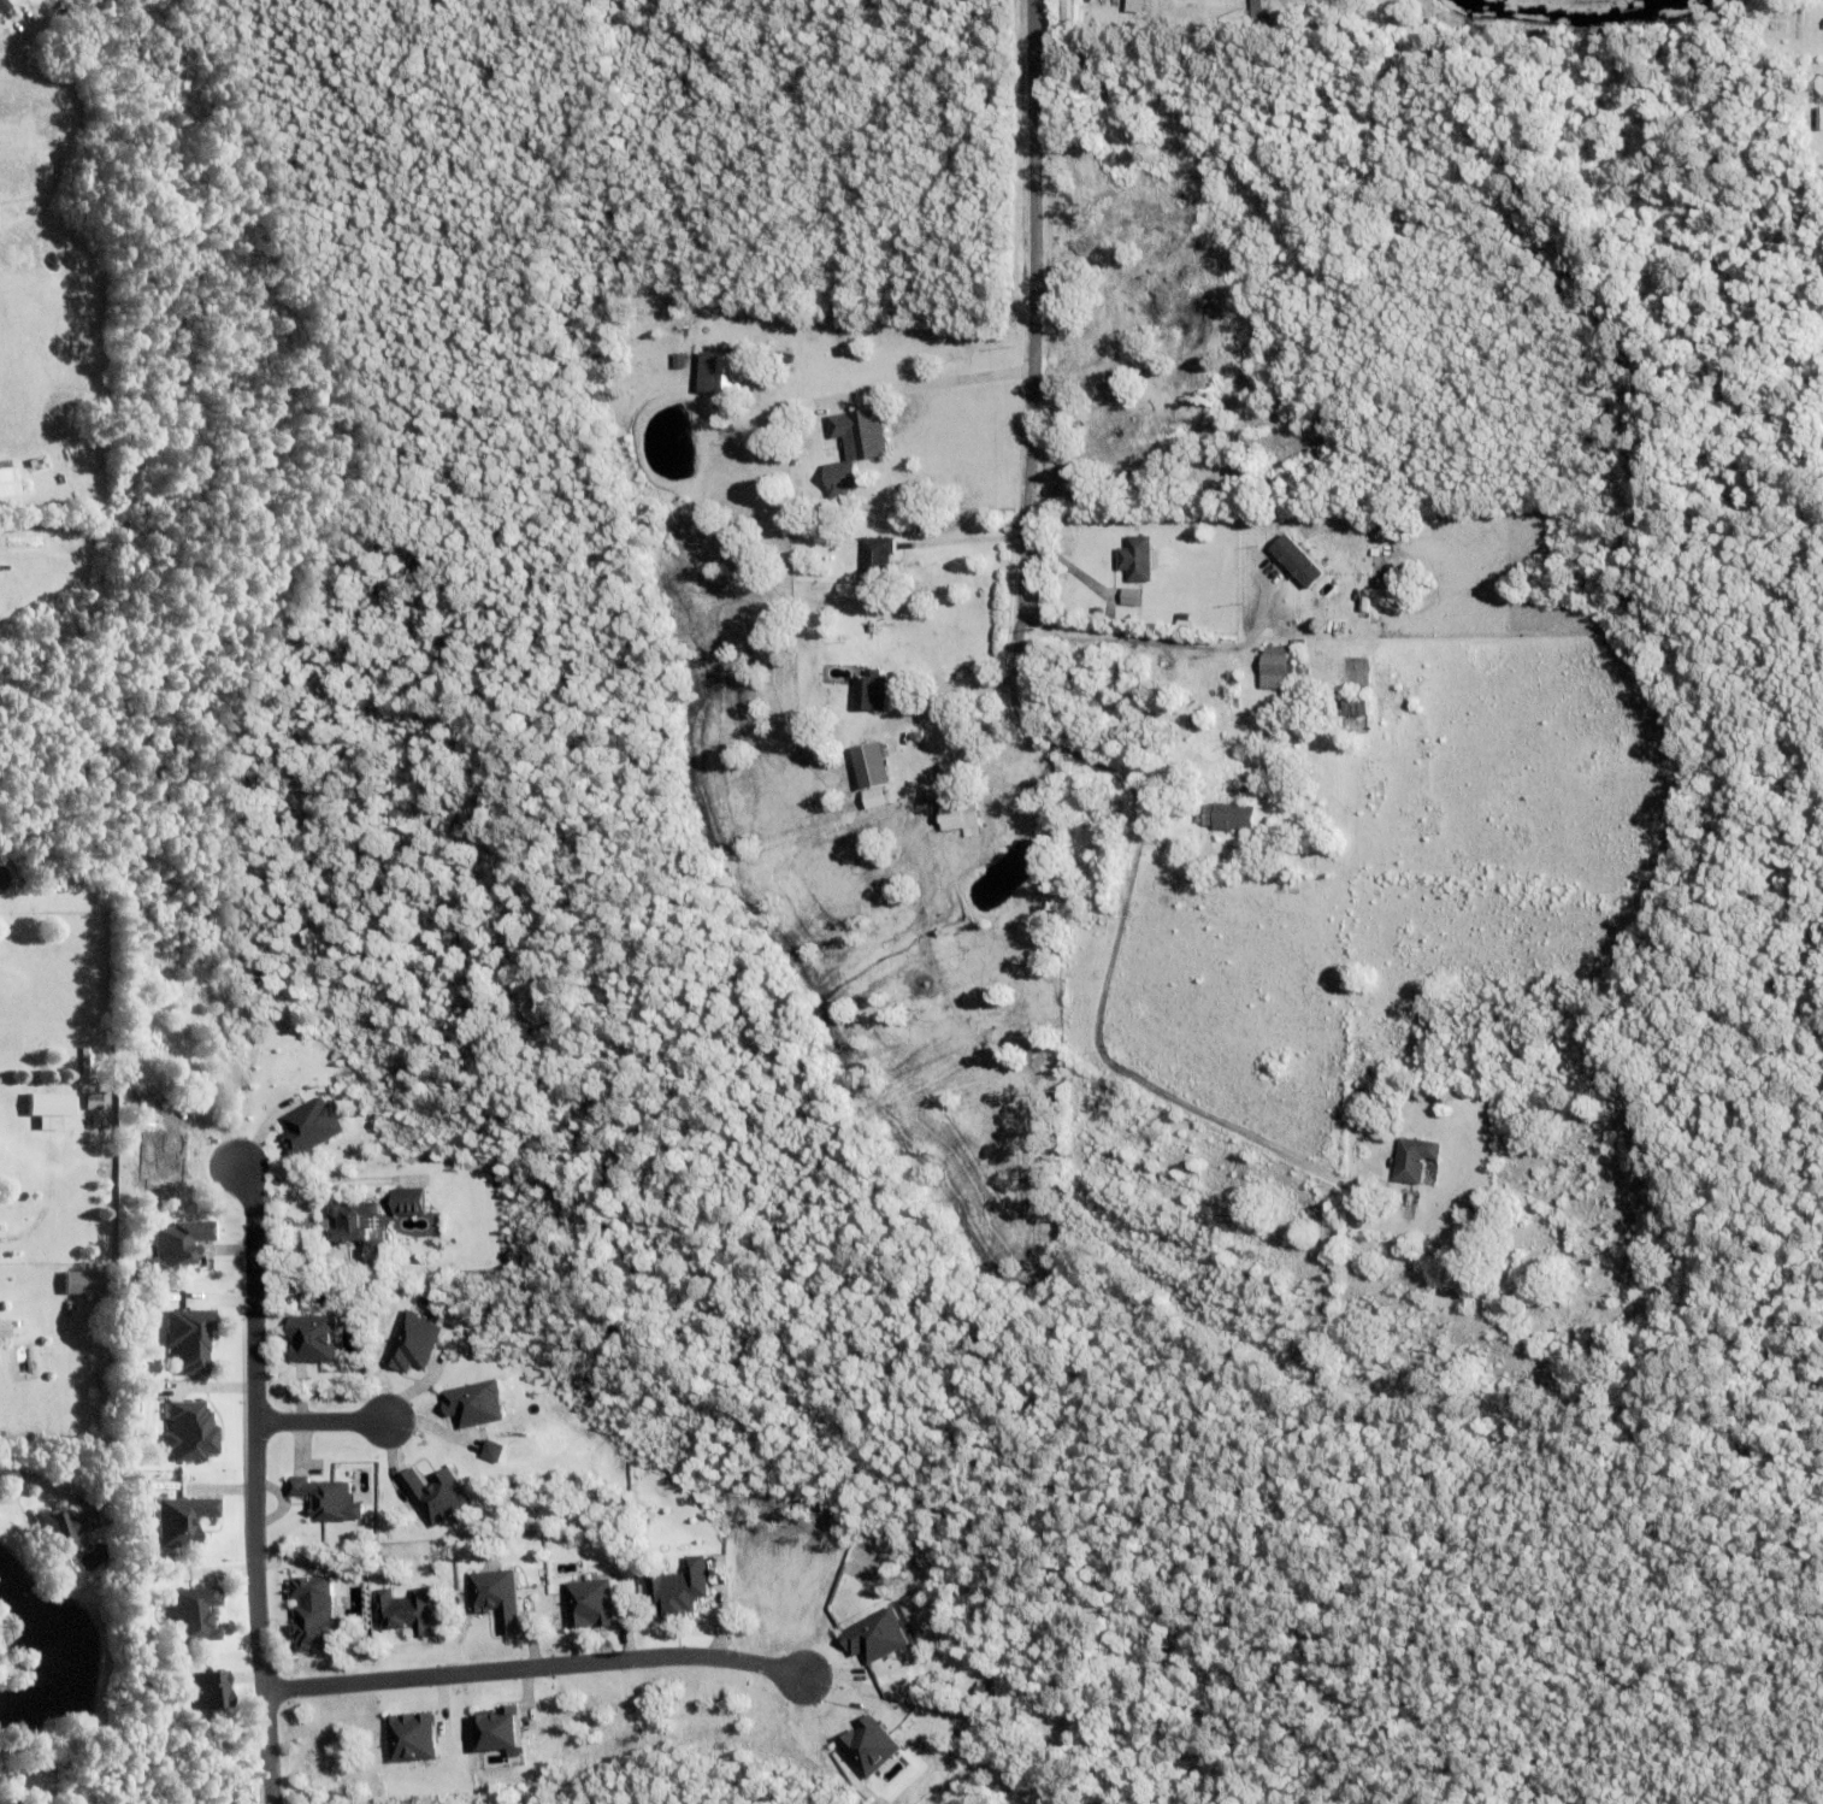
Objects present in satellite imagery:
building: (1132, 1)
building: (1067, 10)
building: (1259, 19)
building: (826, 295)
road: (1031, 303)
building: (1114, 355)
building: (1078, 371)
building: (731, 373)
road: (927, 383)
building: (1097, 393)
building: (1109, 430)
building: (856, 447)
building: (4, 481)
building: (1080, 487)
building: (928, 526)
road: (967, 542)
building: (877, 560)
building: (1137, 560)
building: (1098, 612)
building: (1182, 625)
road: (1089, 632)
building: (1276, 670)
building: (1132, 672)
building: (1234, 682)
building: (872, 692)
building: (1355, 704)
road: (1027, 721)
building: (916, 737)
building: (873, 796)
building: (961, 816)
building: (1227, 818)
building: (87, 1062)
road: (1114, 1068)
building: (1363, 1093)
building: (94, 1102)
building: (49, 1112)
building: (309, 1124)
building: (1414, 1161)
building: (406, 1201)
building: (358, 1227)
building: (175, 1243)
building: (87, 1286)
building: (5, 1332)
building: (309, 1337)
building: (187, 1339)
building: (412, 1342)
building: (472, 1403)
road: (317, 1423)
building: (188, 1431)
building: (107, 1461)
road: (250, 1482)
building: (72, 1485)
building: (433, 1493)
building: (325, 1498)
building: (179, 1519)
building: (69, 1531)
building: (677, 1588)
building: (495, 1596)
building: (588, 1602)
building: (405, 1610)
building: (312, 1611)
building: (189, 1613)
building: (874, 1635)
road: (530, 1669)
building: (202, 1690)
building: (497, 1729)
building: (411, 1735)
building: (867, 1745)
building: (11, 1791)

